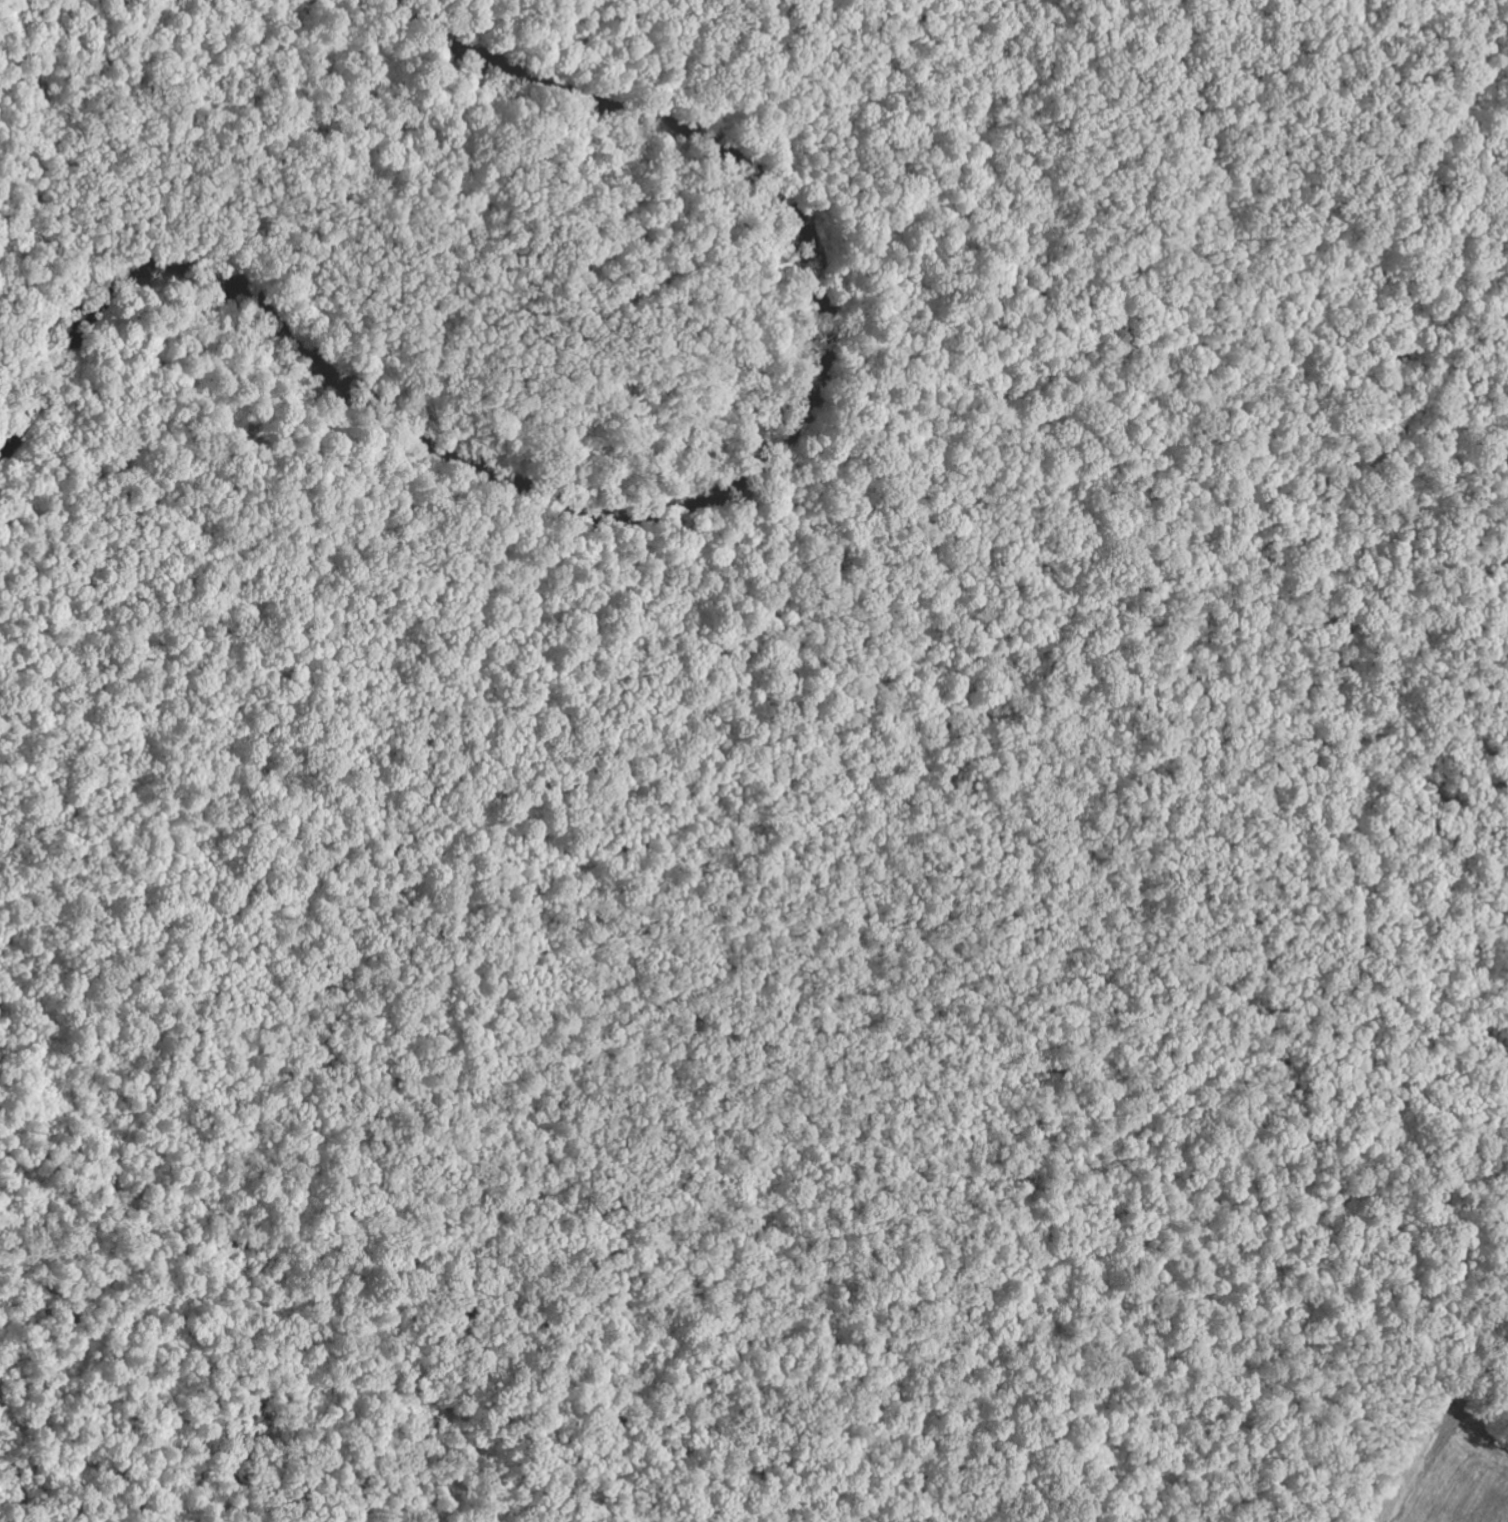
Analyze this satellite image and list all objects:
river: (677, 506)

